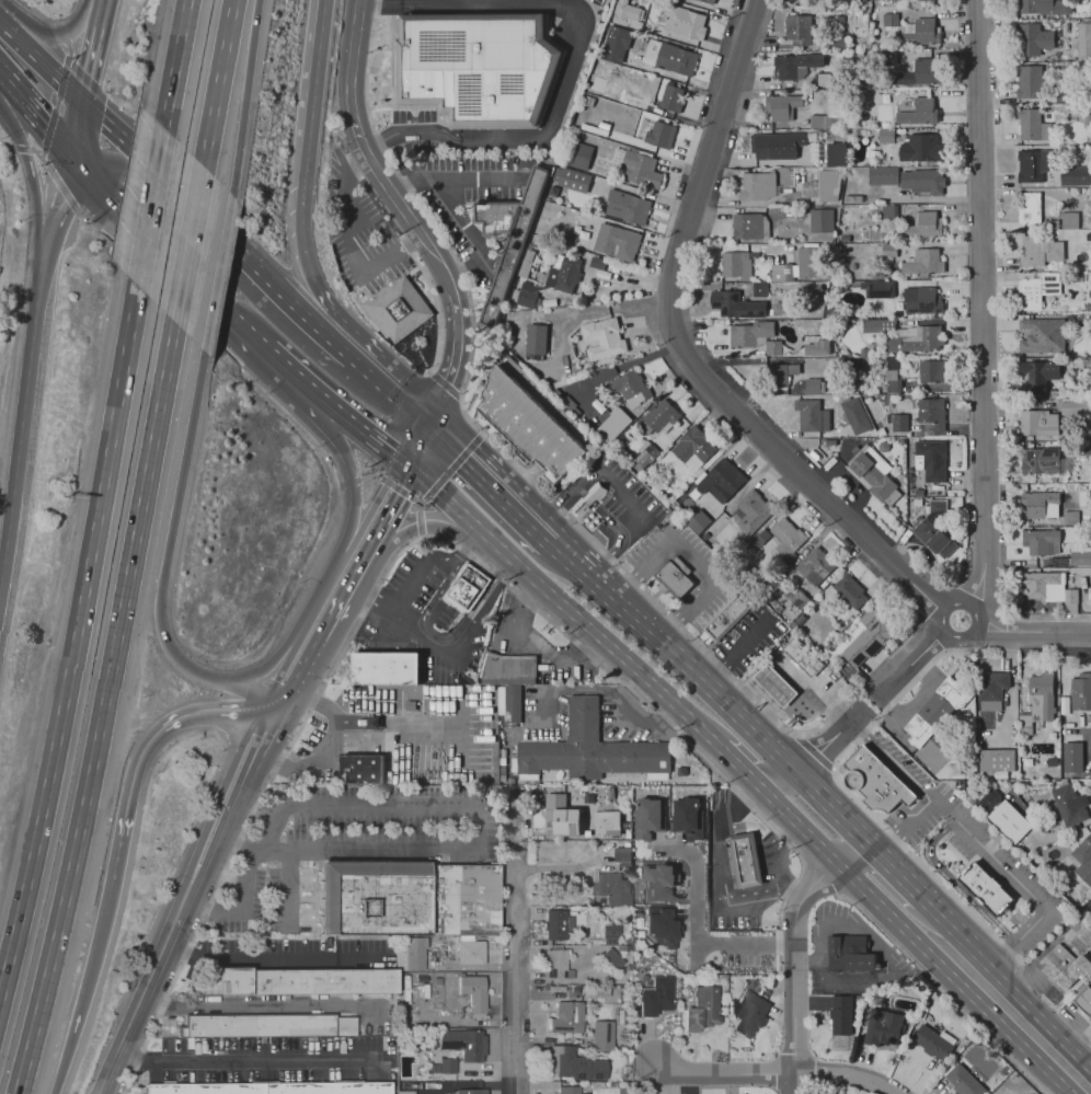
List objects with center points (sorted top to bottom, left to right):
building: (708, 1)
building: (859, 1)
building: (923, 4)
building: (1045, 7)
road: (717, 9)
road: (34, 13)
road: (100, 13)
building: (629, 16)
building: (891, 20)
building: (685, 22)
building: (835, 24)
road: (3, 26)
building: (799, 28)
road: (60, 33)
building: (922, 33)
road: (51, 34)
building: (870, 35)
building: (619, 38)
building: (1033, 39)
building: (1084, 41)
building: (839, 42)
road: (697, 43)
road: (69, 50)
road: (573, 54)
building: (670, 58)
road: (174, 64)
road: (90, 65)
building: (478, 65)
building: (796, 66)
road: (352, 71)
building: (919, 74)
road: (4, 78)
road: (62, 78)
building: (823, 79)
road: (217, 82)
building: (1030, 82)
road: (70, 90)
road: (18, 92)
road: (311, 94)
road: (243, 96)
building: (673, 99)
traffic signals: (82, 102)
building: (633, 102)
road: (56, 104)
building: (783, 106)
building: (836, 112)
building: (919, 112)
building: (1088, 114)
building: (1033, 125)
road: (47, 126)
road: (77, 127)
road: (48, 130)
building: (661, 135)
building: (887, 136)
road: (5, 138)
building: (777, 146)
road: (21, 149)
building: (921, 149)
road: (102, 151)
traffic signals: (71, 152)
building: (836, 153)
road: (42, 154)
building: (578, 154)
road: (38, 156)
road: (26, 159)
building: (1034, 165)
building: (640, 169)
building: (884, 175)
building: (1076, 176)
road: (453, 179)
building: (573, 180)
building: (923, 181)
building: (829, 184)
road: (60, 186)
building: (758, 186)
road: (58, 194)
parking lot: (467, 201)
road: (149, 207)
building: (628, 207)
road: (421, 208)
building: (1030, 209)
building: (889, 212)
road: (407, 217)
building: (820, 220)
building: (1064, 222)
building: (749, 226)
building: (925, 226)
road: (70, 229)
parking lot: (363, 232)
road: (473, 237)
building: (508, 238)
building: (1089, 238)
road: (228, 242)
building: (617, 242)
road: (150, 243)
road: (188, 244)
road: (349, 244)
building: (886, 250)
building: (1040, 251)
road: (42, 254)
road: (305, 263)
building: (597, 263)
building: (923, 263)
building: (737, 265)
building: (800, 265)
building: (524, 268)
road: (217, 273)
building: (834, 274)
building: (550, 281)
building: (817, 288)
building: (759, 289)
building: (878, 289)
building: (1037, 290)
building: (922, 300)
road: (436, 302)
building: (736, 304)
building: (398, 309)
road: (981, 314)
building: (880, 326)
building: (839, 329)
building: (1043, 335)
building: (755, 337)
building: (604, 338)
road: (215, 341)
building: (917, 341)
building: (536, 342)
road: (337, 346)
building: (815, 347)
road: (453, 360)
building: (892, 362)
building: (1086, 362)
building: (852, 364)
road: (287, 369)
building: (794, 369)
building: (932, 371)
building: (1040, 373)
building: (779, 376)
road: (444, 383)
building: (894, 385)
building: (814, 387)
building: (837, 387)
building: (629, 388)
road: (390, 391)
building: (1052, 393)
road: (738, 406)
building: (1076, 407)
building: (932, 413)
building: (813, 415)
building: (659, 418)
building: (532, 421)
building: (898, 422)
building: (1037, 423)
road: (20, 424)
traffic signals: (427, 424)
building: (613, 425)
building: (880, 428)
road: (367, 434)
road: (413, 441)
building: (900, 441)
road: (421, 447)
building: (883, 447)
building: (693, 448)
building: (1077, 448)
building: (868, 454)
building: (644, 458)
traffic signals: (400, 459)
building: (931, 460)
building: (1041, 461)
road: (406, 464)
road: (453, 464)
traffic signals: (414, 471)
road: (369, 475)
road: (351, 480)
road: (348, 481)
building: (721, 481)
road: (490, 482)
road: (395, 488)
building: (918, 493)
road: (625, 495)
building: (588, 499)
road: (416, 502)
building: (918, 502)
road: (448, 504)
road: (372, 505)
road: (420, 505)
road: (556, 505)
building: (1040, 505)
road: (393, 507)
building: (676, 508)
road: (604, 511)
building: (751, 511)
building: (670, 515)
building: (1071, 518)
building: (699, 521)
road: (418, 523)
road: (426, 526)
building: (934, 531)
road: (170, 532)
road: (653, 536)
building: (704, 536)
building: (786, 538)
building: (759, 540)
building: (1042, 541)
parking lot: (662, 544)
building: (1080, 554)
road: (457, 557)
road: (696, 558)
road: (605, 560)
building: (815, 566)
road: (579, 567)
building: (676, 577)
road: (377, 585)
road: (410, 586)
building: (468, 587)
building: (1050, 589)
building: (850, 590)
road: (346, 591)
road: (658, 591)
road: (371, 597)
building: (799, 599)
road: (656, 601)
road: (482, 608)
road: (519, 611)
road: (632, 617)
building: (723, 620)
building: (793, 624)
road: (384, 625)
road: (303, 627)
building: (871, 635)
road: (417, 637)
road: (443, 637)
parking lot: (748, 638)
road: (73, 643)
road: (598, 643)
road: (736, 649)
road: (919, 653)
building: (803, 657)
road: (266, 663)
road: (786, 665)
building: (509, 666)
building: (387, 668)
road: (920, 675)
road: (300, 676)
building: (776, 686)
gas station: (776, 686)
road: (705, 687)
building: (992, 690)
road: (596, 691)
road: (242, 692)
building: (1081, 692)
road: (877, 696)
building: (1038, 703)
building: (513, 704)
road: (271, 707)
road: (102, 710)
road: (788, 711)
building: (937, 711)
road: (861, 712)
parking lot: (543, 713)
parking lot: (628, 718)
road: (395, 723)
road: (157, 730)
road: (797, 736)
road: (824, 747)
road: (330, 749)
building: (593, 749)
road: (776, 753)
road: (814, 755)
building: (1073, 757)
building: (996, 761)
road: (735, 765)
building: (361, 769)
road: (777, 779)
building: (875, 781)
building: (987, 801)
building: (1069, 805)
road: (238, 808)
road: (725, 811)
road: (837, 815)
building: (648, 818)
building: (687, 818)
building: (578, 821)
building: (1010, 821)
road: (797, 822)
road: (206, 827)
road: (905, 828)
road: (783, 834)
parking lot: (342, 843)
parking lot: (972, 843)
road: (977, 843)
road: (469, 850)
road: (745, 850)
building: (1083, 851)
road: (117, 852)
building: (622, 853)
road: (747, 857)
road: (859, 859)
building: (748, 861)
road: (722, 865)
road: (750, 866)
road: (548, 867)
road: (778, 868)
road: (822, 871)
building: (1090, 871)
road: (245, 874)
road: (898, 878)
building: (658, 882)
road: (941, 884)
road: (955, 884)
building: (611, 888)
building: (985, 888)
road: (288, 889)
road: (754, 893)
building: (407, 898)
road: (1006, 912)
road: (1007, 917)
parking lot: (734, 918)
building: (558, 923)
road: (943, 923)
road: (692, 926)
building: (661, 928)
road: (180, 931)
road: (516, 943)
building: (471, 951)
building: (412, 953)
building: (849, 953)
road: (276, 956)
building: (611, 957)
building: (558, 963)
road: (791, 967)
building: (1064, 967)
road: (956, 978)
road: (151, 980)
building: (297, 981)
road: (87, 983)
road: (944, 990)
building: (474, 992)
road: (547, 992)
building: (655, 994)
building: (1083, 1000)
road: (271, 1003)
building: (704, 1005)
road: (1029, 1006)
building: (751, 1012)
building: (842, 1013)
building: (567, 1016)
building: (269, 1025)
building: (884, 1025)
building: (604, 1034)
building: (933, 1040)
building: (464, 1041)
road: (120, 1048)
road: (252, 1059)
building: (575, 1063)
building: (448, 1064)
road: (489, 1070)
road: (782, 1073)
building: (964, 1080)
road: (459, 1084)
building: (269, 1087)
road: (438, 1089)
road: (537, 1089)
building: (570, 1089)
building: (405, 1091)
building: (471, 1091)

